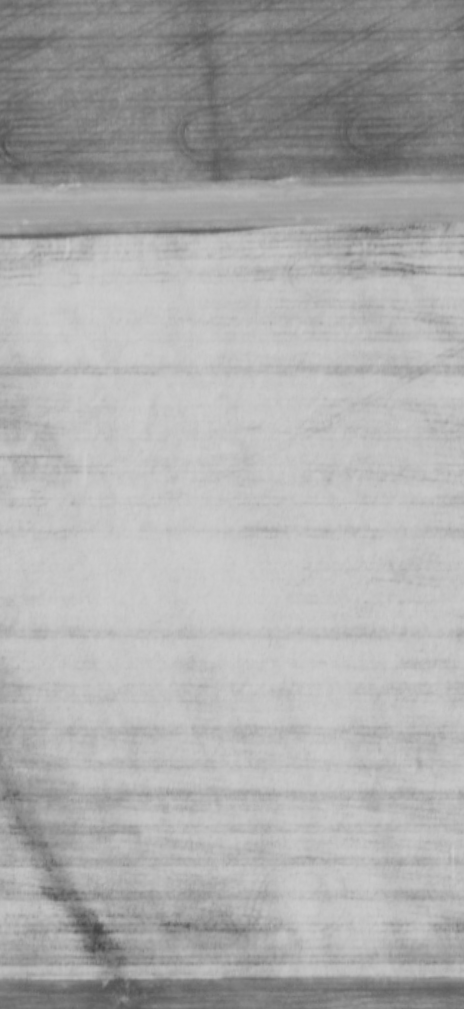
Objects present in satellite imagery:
crop: (229, 89)
road: (232, 205)
crop: (232, 601)
crop: (231, 993)

